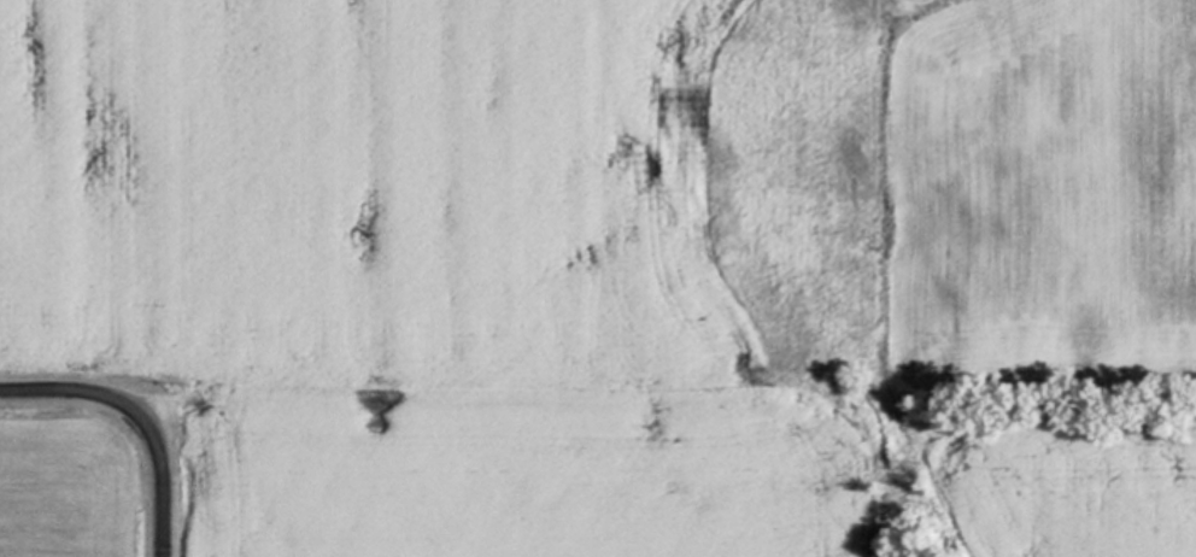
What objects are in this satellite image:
road: (140, 416)

